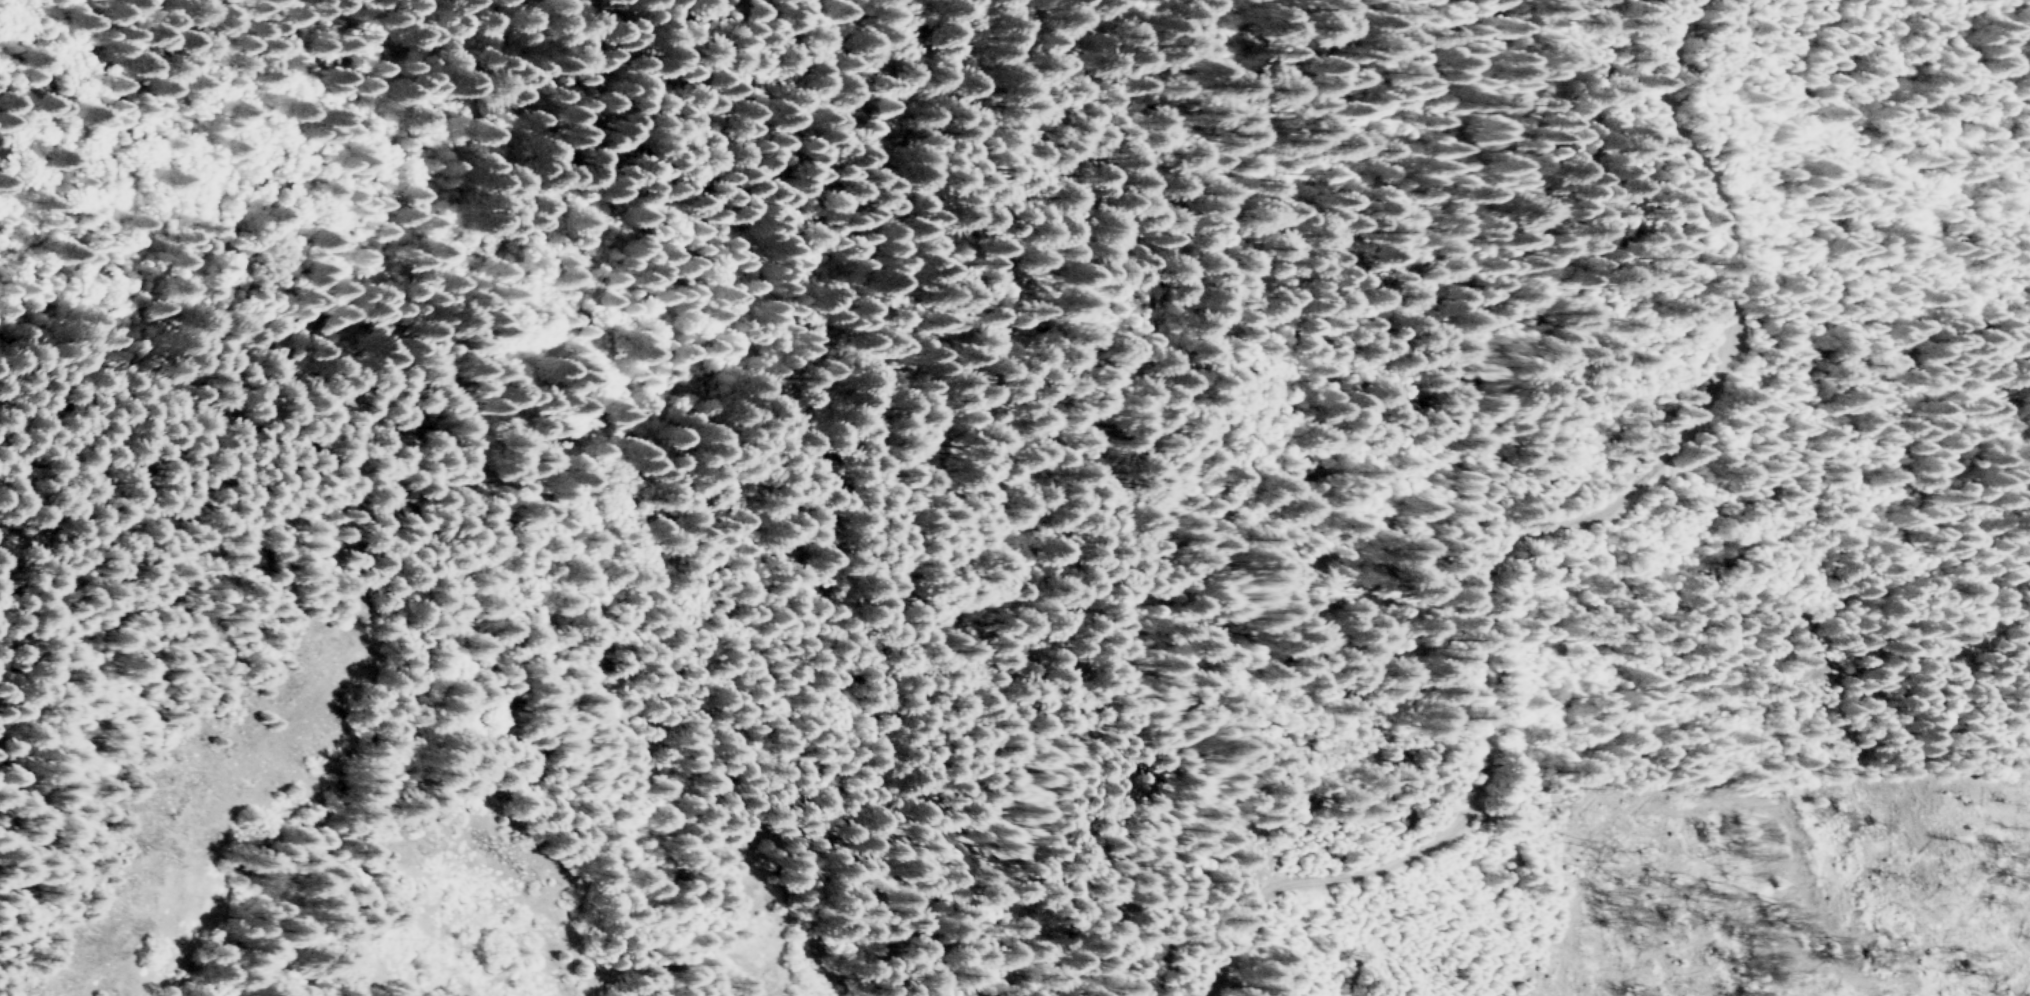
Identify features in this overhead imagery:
road: (1520, 535)

